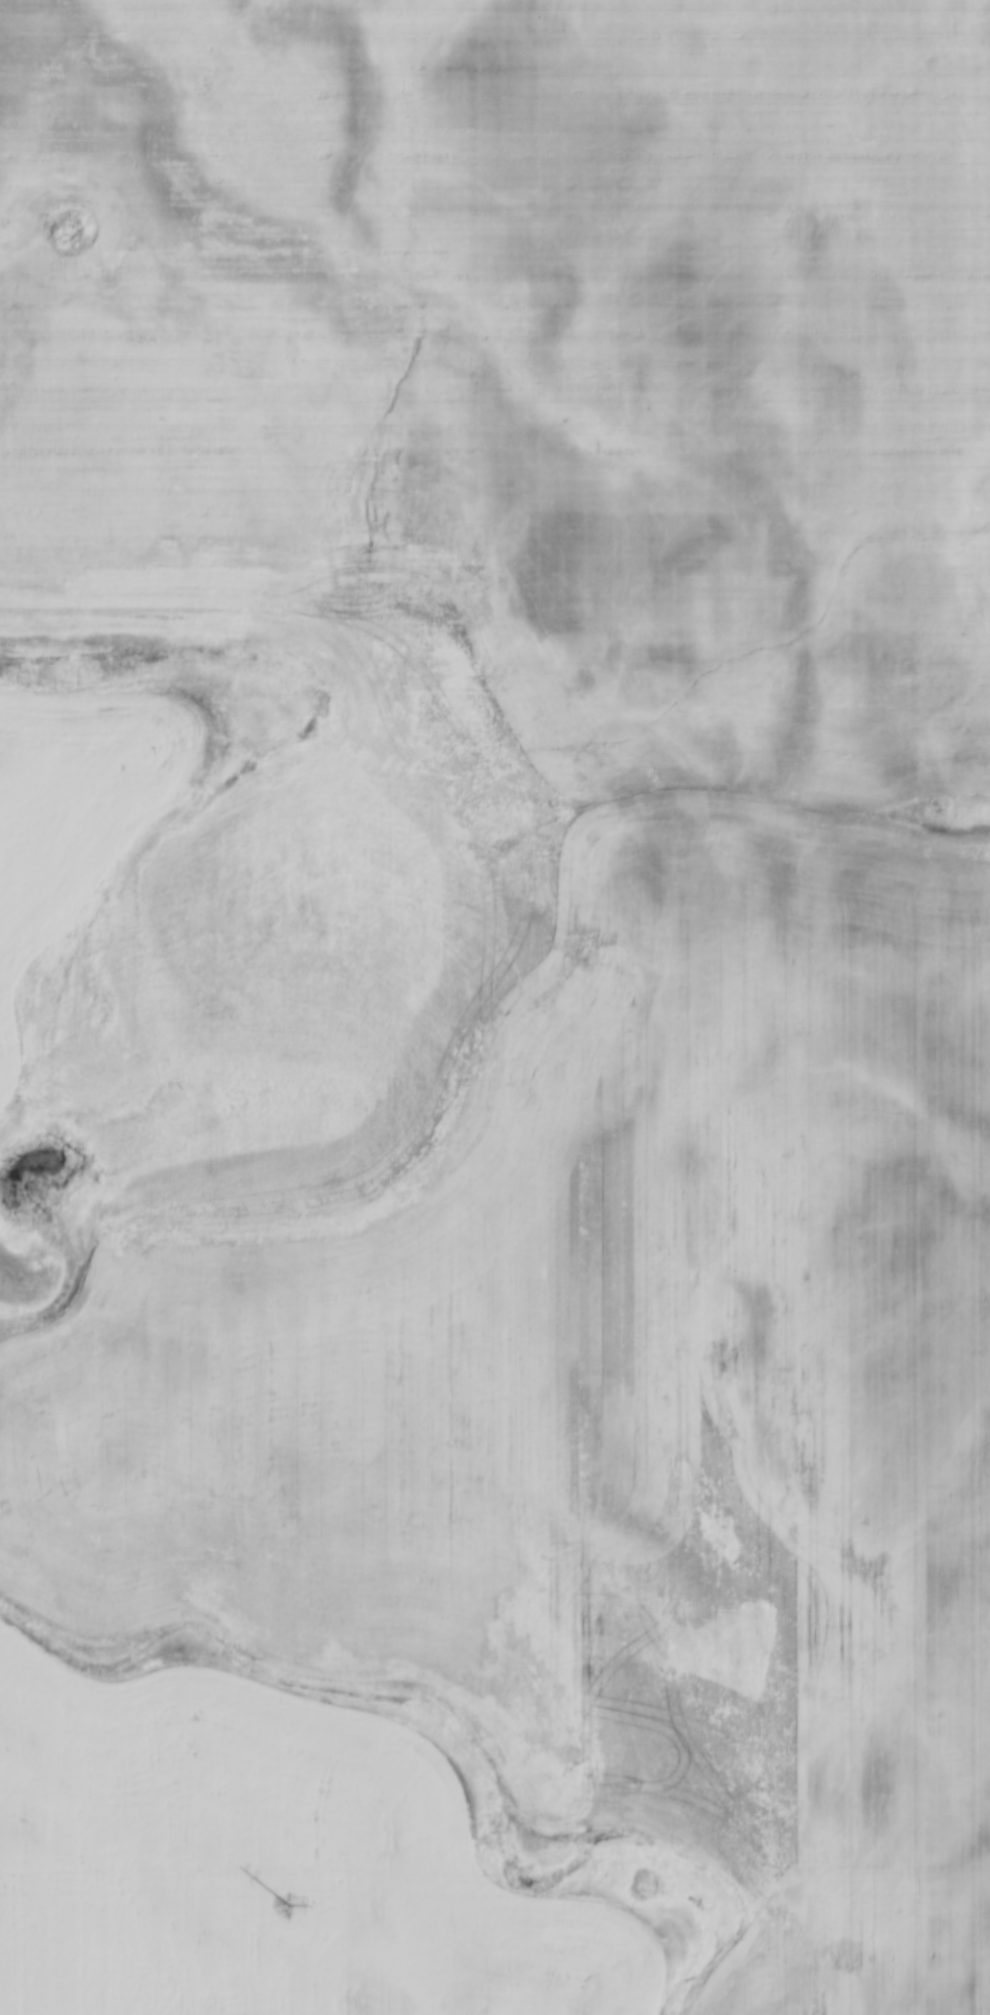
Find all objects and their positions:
power tower: (284, 1902)

